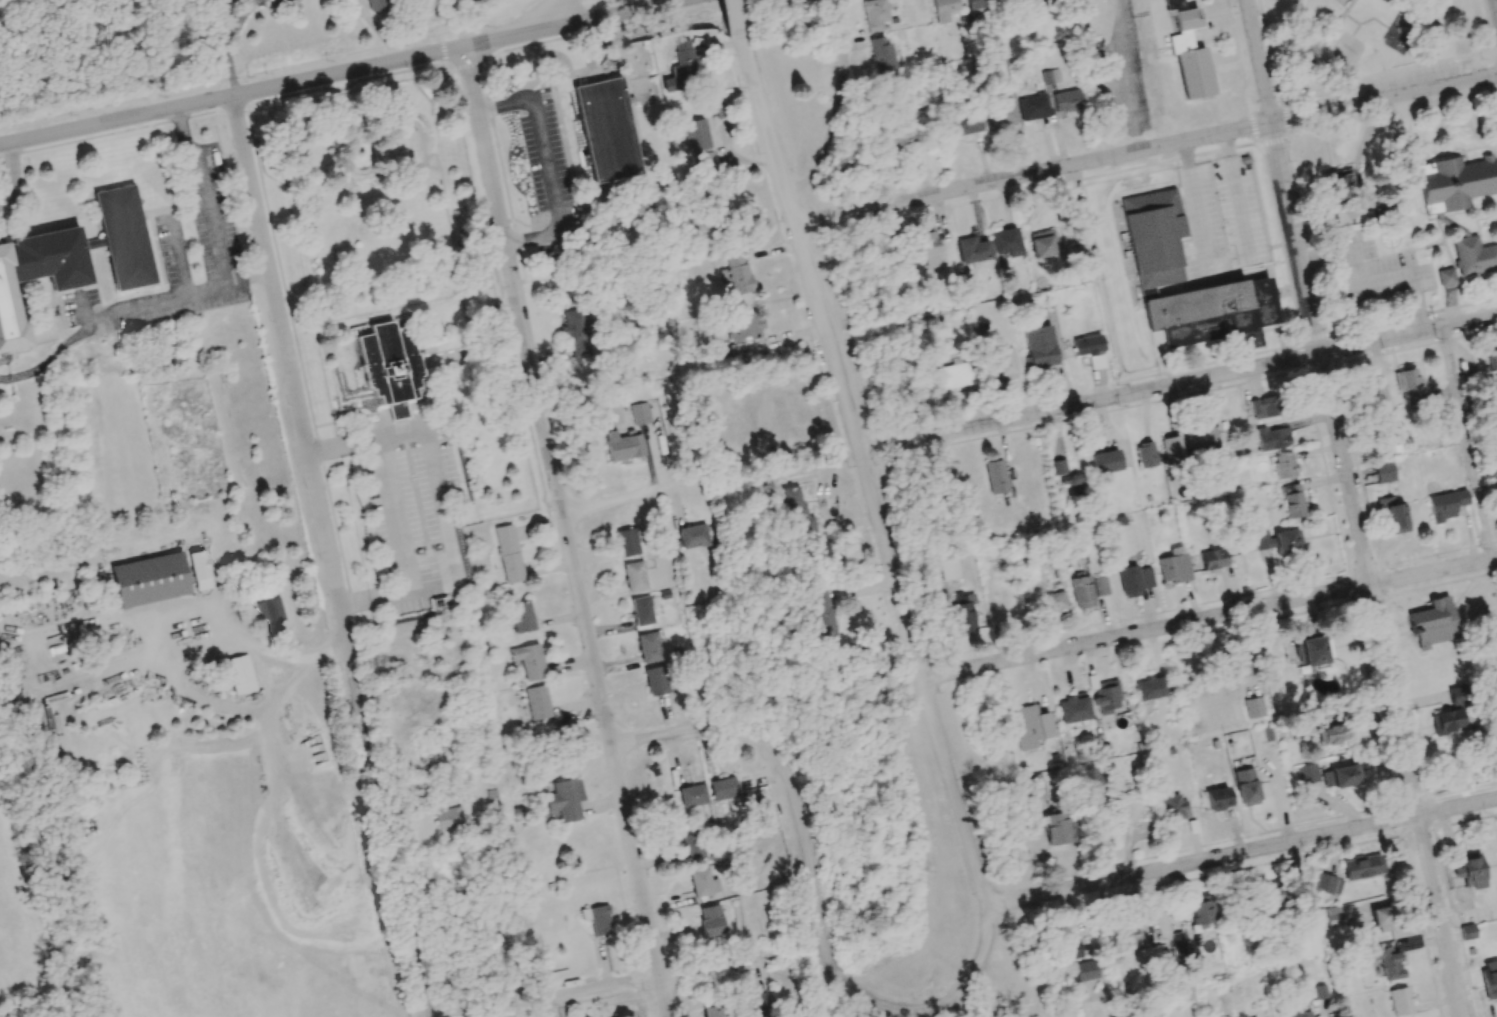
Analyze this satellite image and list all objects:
building: (277, 0)
building: (979, 4)
building: (379, 5)
building: (1039, 7)
building: (945, 9)
road: (551, 14)
building: (873, 14)
road: (747, 17)
road: (736, 19)
road: (1442, 25)
road: (1483, 25)
street lamp: (486, 27)
road: (441, 37)
park: (1365, 37)
road: (538, 43)
road: (228, 46)
street lamp: (401, 46)
road: (1270, 47)
road: (443, 50)
road: (1487, 50)
building: (1189, 51)
building: (880, 54)
road: (1486, 57)
road: (1313, 59)
street lamp: (329, 61)
road: (1259, 61)
road: (485, 63)
road: (446, 64)
road: (469, 65)
building: (677, 66)
road: (451, 68)
road: (761, 69)
road: (1383, 72)
road: (337, 73)
street lamp: (243, 74)
road: (1492, 75)
street lamp: (737, 90)
road: (1384, 98)
building: (1067, 100)
road: (489, 107)
building: (1033, 107)
building: (1001, 113)
road: (836, 114)
street lamp: (465, 116)
building: (965, 124)
building: (607, 130)
building: (903, 137)
building: (698, 142)
street lamp: (229, 146)
street lamp: (221, 160)
road: (548, 167)
road: (10, 172)
road: (1033, 173)
road: (502, 174)
building: (1455, 183)
building: (1337, 188)
road: (206, 191)
park: (379, 197)
street lamp: (484, 207)
road: (509, 220)
street lamp: (777, 220)
road: (499, 222)
road: (490, 224)
street lamp: (249, 234)
building: (123, 237)
building: (1155, 238)
road: (1294, 238)
road: (517, 241)
building: (1006, 242)
street lamp: (243, 244)
building: (1042, 244)
building: (928, 248)
building: (973, 250)
building: (1474, 256)
road: (522, 267)
building: (39, 272)
road: (281, 274)
building: (738, 275)
building: (1446, 276)
road: (247, 277)
road: (1374, 280)
road: (512, 283)
road: (503, 287)
street lamp: (249, 303)
street lamp: (507, 305)
building: (1212, 311)
road: (104, 316)
street lamp: (269, 323)
building: (743, 327)
building: (578, 334)
road: (1408, 335)
building: (1038, 344)
building: (1086, 345)
street lamp: (812, 347)
building: (1492, 360)
building: (1003, 362)
building: (389, 365)
road: (288, 367)
road: (518, 371)
building: (954, 375)
building: (1407, 385)
building: (1374, 397)
road: (1090, 402)
street lamp: (288, 406)
building: (1266, 409)
building: (641, 413)
building: (1273, 437)
building: (1201, 439)
road: (1466, 443)
building: (623, 446)
building: (1172, 449)
building: (1145, 455)
building: (1106, 462)
road: (431, 465)
building: (1284, 465)
street lamp: (847, 467)
building: (1384, 472)
building: (996, 476)
street lamp: (304, 488)
road: (628, 495)
building: (1294, 501)
street lamp: (551, 503)
street lamp: (664, 504)
building: (1446, 505)
road: (876, 511)
building: (798, 512)
road: (395, 513)
building: (1393, 515)
road: (565, 531)
building: (694, 536)
building: (1264, 540)
building: (1287, 541)
building: (627, 542)
building: (507, 557)
building: (1213, 559)
street lamp: (318, 563)
street lamp: (874, 564)
building: (947, 567)
building: (1173, 569)
building: (200, 570)
road: (1494, 573)
building: (635, 576)
building: (150, 579)
building: (1134, 580)
building: (1100, 586)
building: (1082, 590)
road: (374, 598)
building: (1054, 601)
building: (1005, 606)
building: (270, 611)
building: (642, 611)
building: (822, 612)
building: (963, 614)
building: (522, 617)
road: (1209, 618)
building: (1432, 623)
street lamp: (577, 633)
building: (650, 647)
building: (1315, 651)
building: (1271, 659)
building: (529, 661)
street lamp: (333, 665)
building: (1235, 666)
building: (240, 674)
building: (658, 680)
road: (1390, 685)
building: (1495, 685)
building: (1152, 688)
street lamp: (939, 694)
building: (1455, 696)
building: (1107, 697)
building: (537, 702)
building: (1254, 707)
building: (1074, 709)
building: (1449, 721)
street lamp: (598, 724)
building: (1031, 726)
building: (1332, 733)
street lamp: (745, 740)
building: (1493, 745)
street lamp: (661, 749)
street lamp: (355, 764)
building: (1308, 773)
building: (1342, 776)
building: (1090, 779)
building: (1246, 787)
building: (724, 788)
street lamp: (961, 793)
building: (693, 795)
building: (1218, 798)
building: (566, 799)
building: (1174, 808)
building: (449, 817)
road: (386, 828)
building: (1056, 829)
building: (695, 846)
road: (808, 848)
road: (1240, 852)
street lamp: (797, 864)
building: (1365, 866)
building: (1470, 870)
street lamp: (648, 873)
building: (705, 881)
building: (1327, 884)
building: (1270, 896)
building: (1202, 913)
street lamp: (1002, 916)
building: (1334, 916)
building: (597, 919)
building: (1382, 919)
building: (711, 920)
building: (1467, 932)
building: (1127, 934)
building: (1307, 943)
building: (1179, 945)
building: (1388, 963)
building: (1085, 971)
building: (1489, 978)
street lamp: (815, 986)
road: (606, 987)
street lamp: (639, 991)
building: (1321, 992)
street lamp: (912, 999)
road: (967, 1000)
building: (1400, 1001)
building: (758, 1005)
building: (717, 1011)
building: (1298, 1012)

